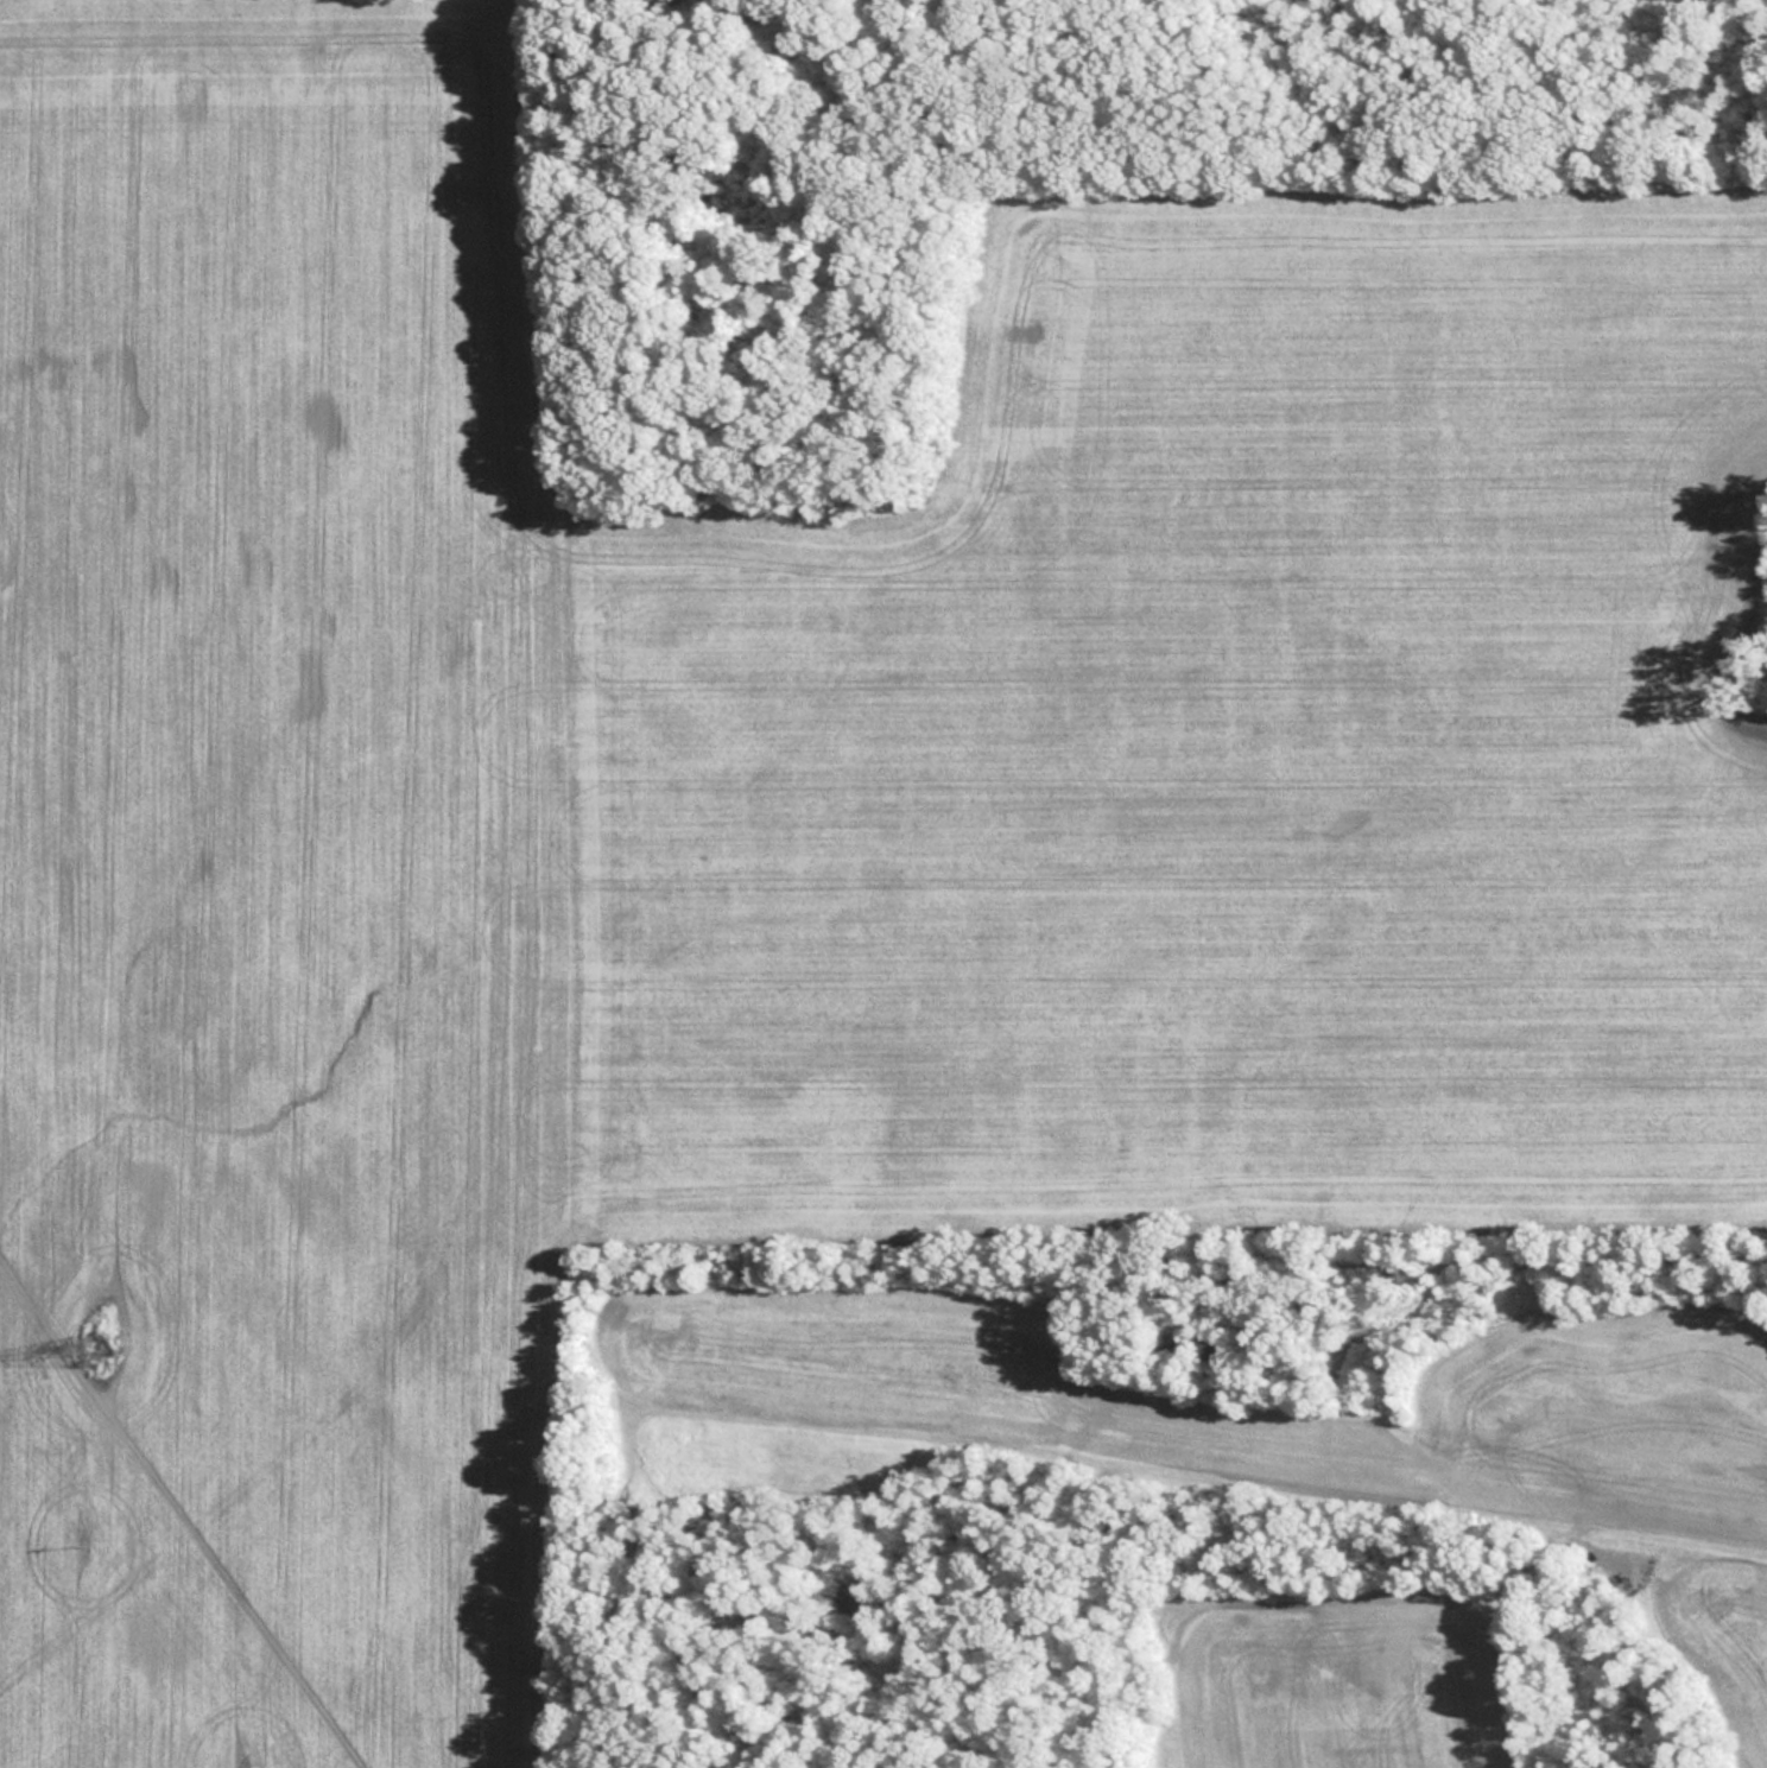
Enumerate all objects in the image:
power tower: (91, 1349)

